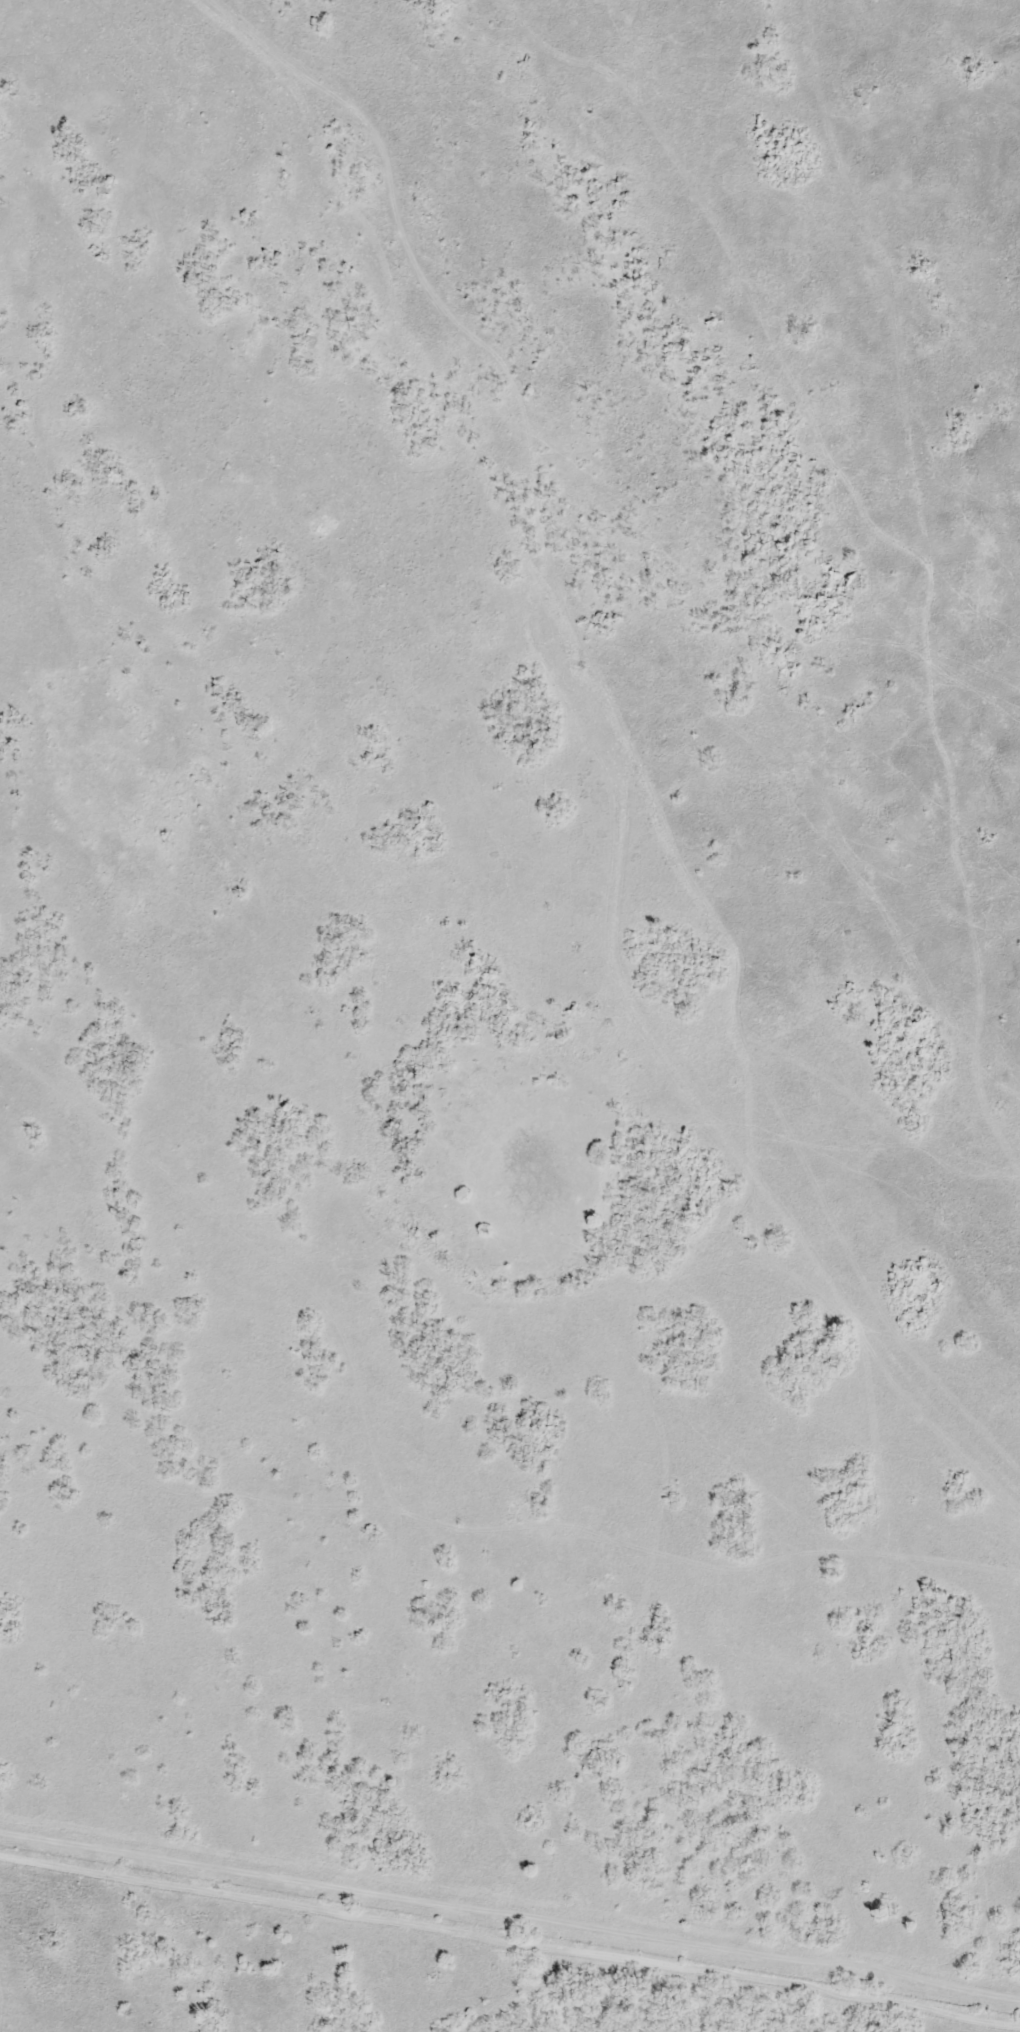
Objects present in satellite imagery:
road: (510, 1902)

